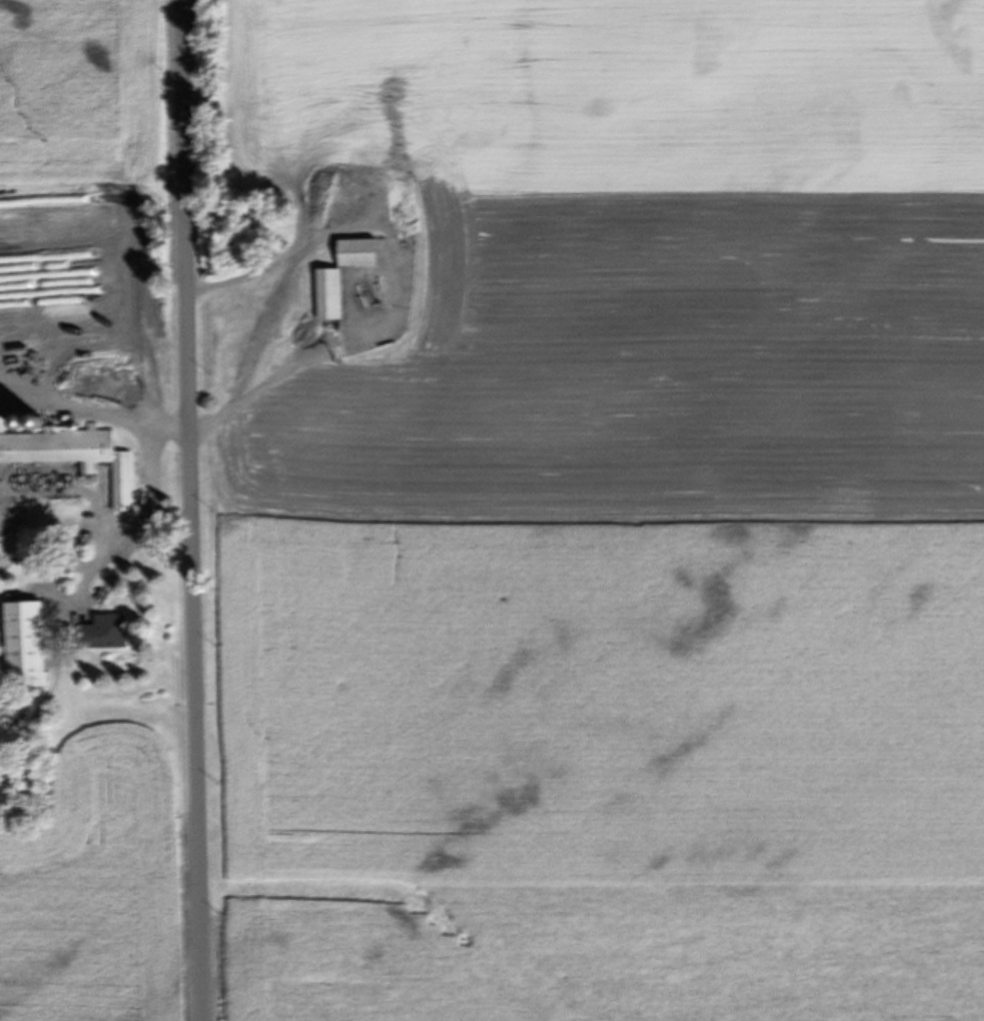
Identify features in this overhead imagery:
building: (359, 254)
building: (330, 295)
road: (311, 346)
road: (134, 362)
building: (74, 457)
road: (194, 510)
crop: (616, 520)
building: (105, 633)
building: (24, 646)

